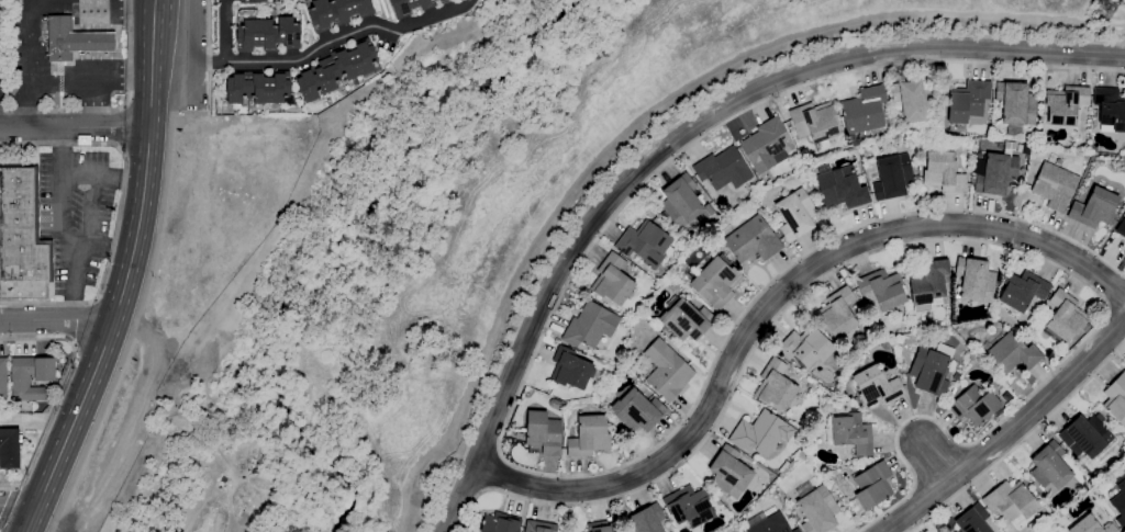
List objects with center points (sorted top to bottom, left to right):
building: (253, 1)
building: (443, 1)
building: (409, 7)
power tower: (1106, 11)
building: (335, 12)
road: (224, 31)
building: (267, 34)
building: (73, 39)
gas station: (73, 39)
road: (313, 49)
building: (14, 53)
building: (13, 67)
building: (337, 69)
building: (256, 88)
building: (913, 101)
building: (968, 101)
road: (151, 102)
building: (1016, 103)
road: (645, 104)
building: (1065, 104)
road: (115, 109)
building: (1110, 109)
building: (862, 112)
building: (815, 124)
road: (119, 127)
road: (75, 128)
building: (920, 128)
road: (676, 136)
building: (764, 145)
building: (1026, 147)
road: (59, 150)
building: (723, 169)
building: (943, 172)
building: (994, 173)
building: (892, 177)
road: (120, 178)
building: (1025, 179)
building: (840, 186)
building: (1055, 186)
building: (700, 188)
building: (683, 203)
building: (1094, 208)
road: (119, 212)
building: (1124, 212)
parking lot: (74, 213)
building: (795, 215)
building: (22, 228)
road: (63, 228)
building: (1121, 228)
building: (753, 240)
road: (934, 240)
building: (644, 244)
building: (801, 247)
road: (108, 249)
building: (1124, 254)
road: (154, 257)
building: (689, 272)
road: (126, 274)
road: (73, 280)
building: (612, 280)
building: (976, 280)
building: (716, 282)
building: (928, 284)
road: (1114, 286)
building: (1022, 290)
building: (881, 291)
road: (771, 299)
building: (837, 313)
building: (1065, 317)
road: (1115, 318)
road: (57, 319)
building: (684, 319)
road: (78, 325)
building: (590, 326)
building: (806, 347)
building: (1011, 355)
building: (959, 366)
building: (666, 369)
building: (571, 370)
building: (932, 370)
building: (956, 376)
building: (2, 378)
building: (44, 378)
building: (776, 385)
building: (876, 386)
road: (60, 390)
building: (1116, 399)
building: (974, 405)
building: (637, 411)
road: (509, 422)
building: (543, 432)
road: (1007, 432)
building: (760, 433)
building: (851, 433)
building: (1085, 435)
building: (589, 437)
road: (1020, 441)
building: (9, 449)
road: (935, 459)
building: (1049, 468)
building: (729, 473)
road: (495, 474)
building: (871, 487)
road: (2, 495)
building: (1011, 502)
building: (1120, 503)
road: (18, 507)
building: (689, 507)
building: (816, 508)
building: (646, 520)
building: (972, 520)
building: (500, 523)
building: (769, 524)
building: (1091, 525)
building: (538, 527)
building: (600, 527)

